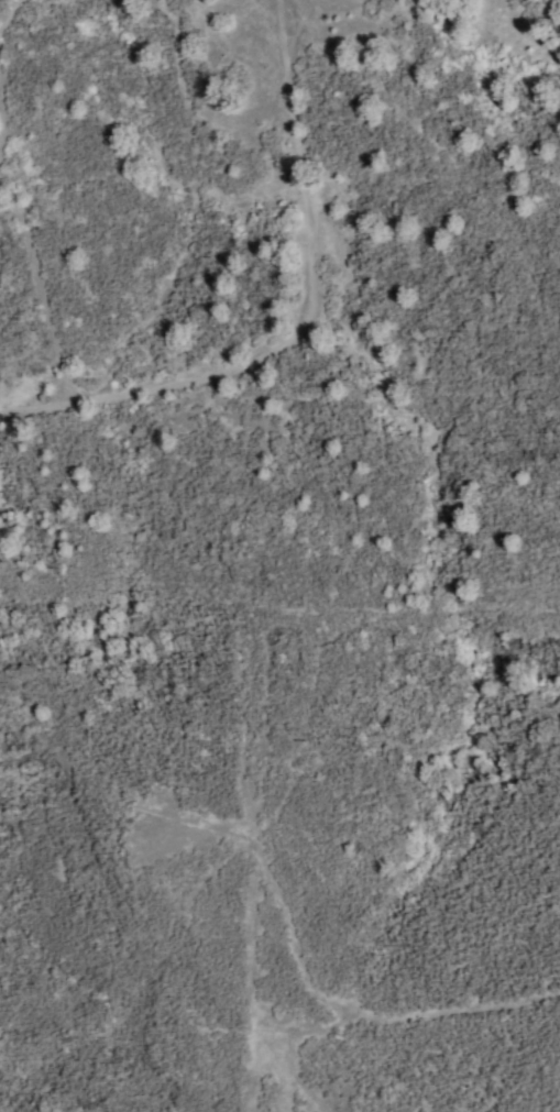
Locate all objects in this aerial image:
road: (315, 329)
road: (246, 980)
road: (299, 987)
road: (286, 1074)

